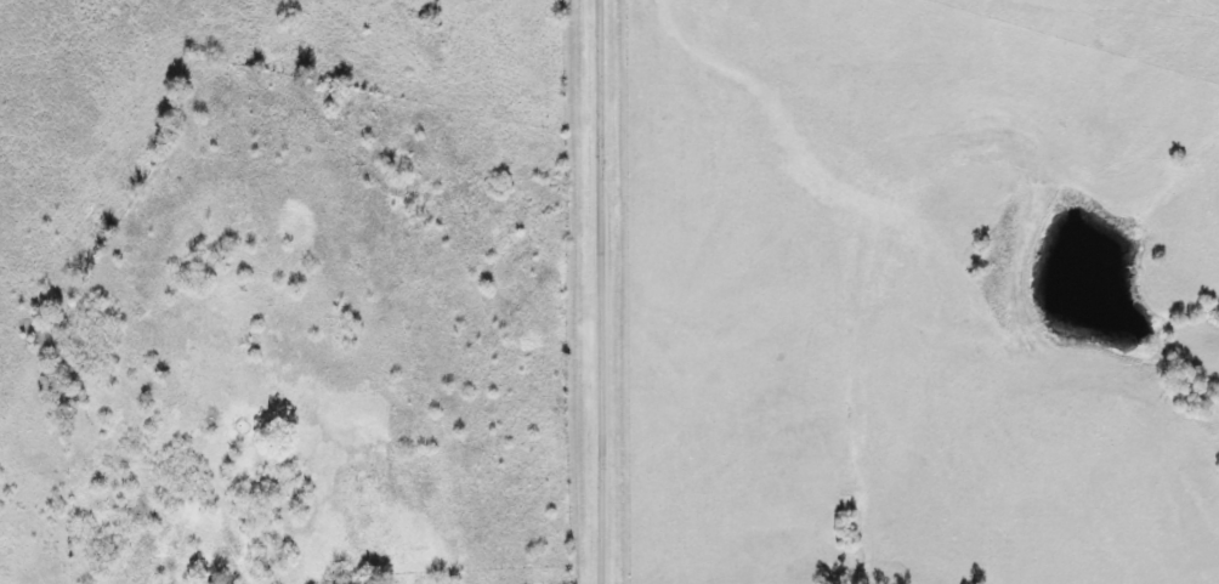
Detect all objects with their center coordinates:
road: (608, 291)

